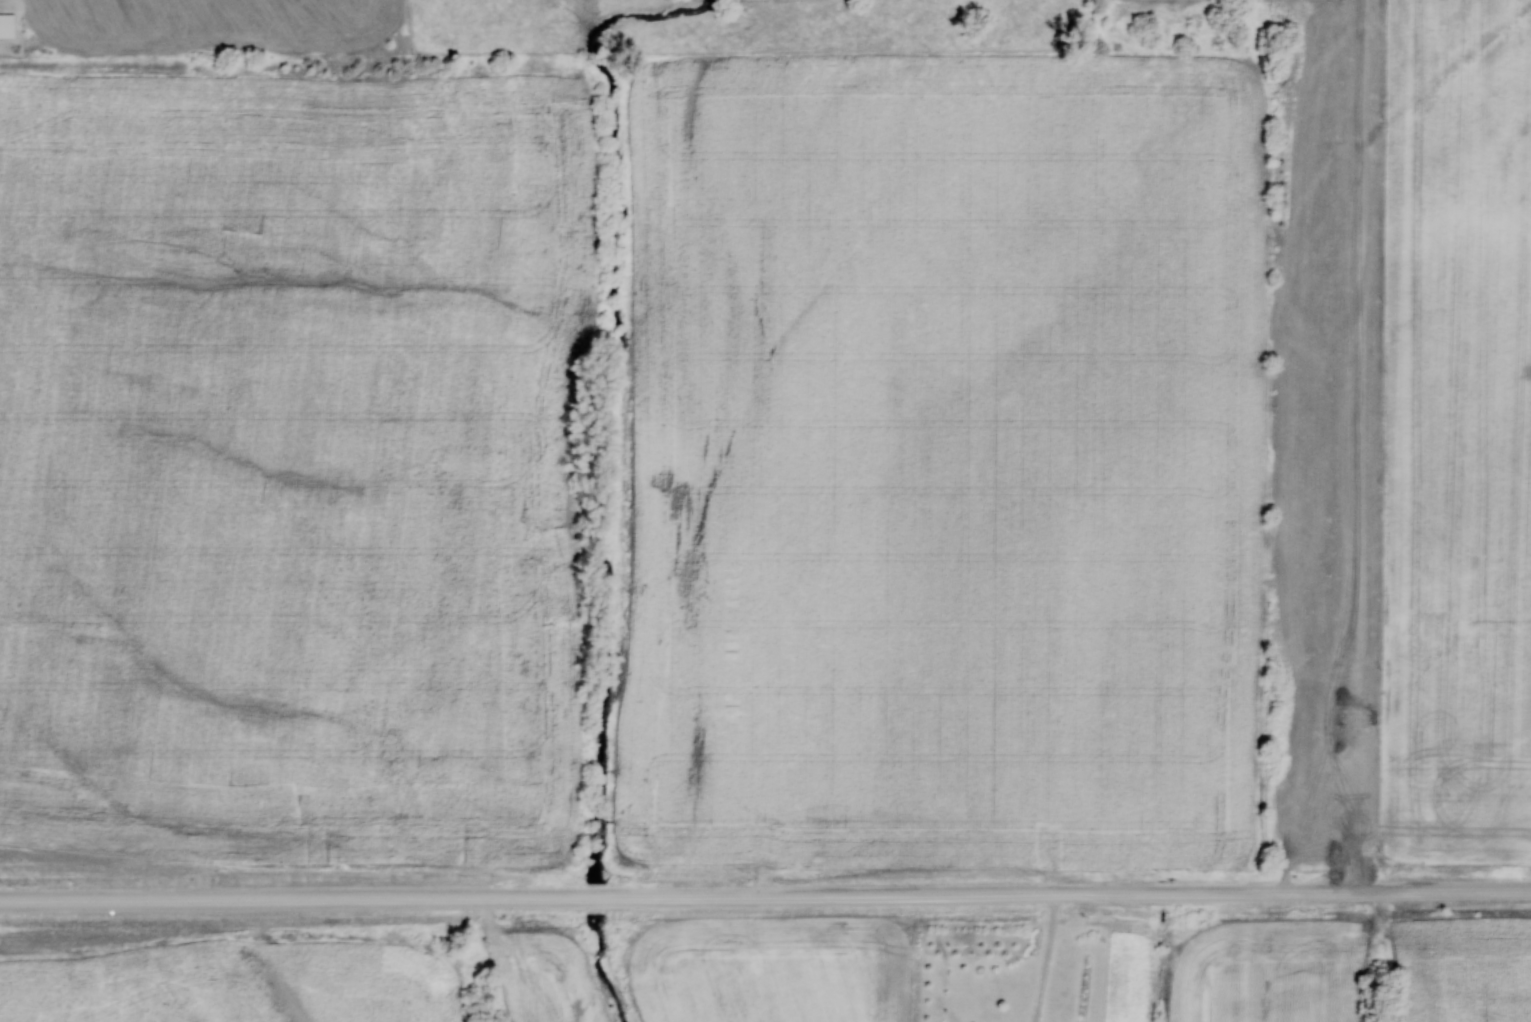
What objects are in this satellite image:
building: (7, 25)
road: (1355, 446)
crop: (943, 464)
crop: (297, 475)
road: (765, 897)

